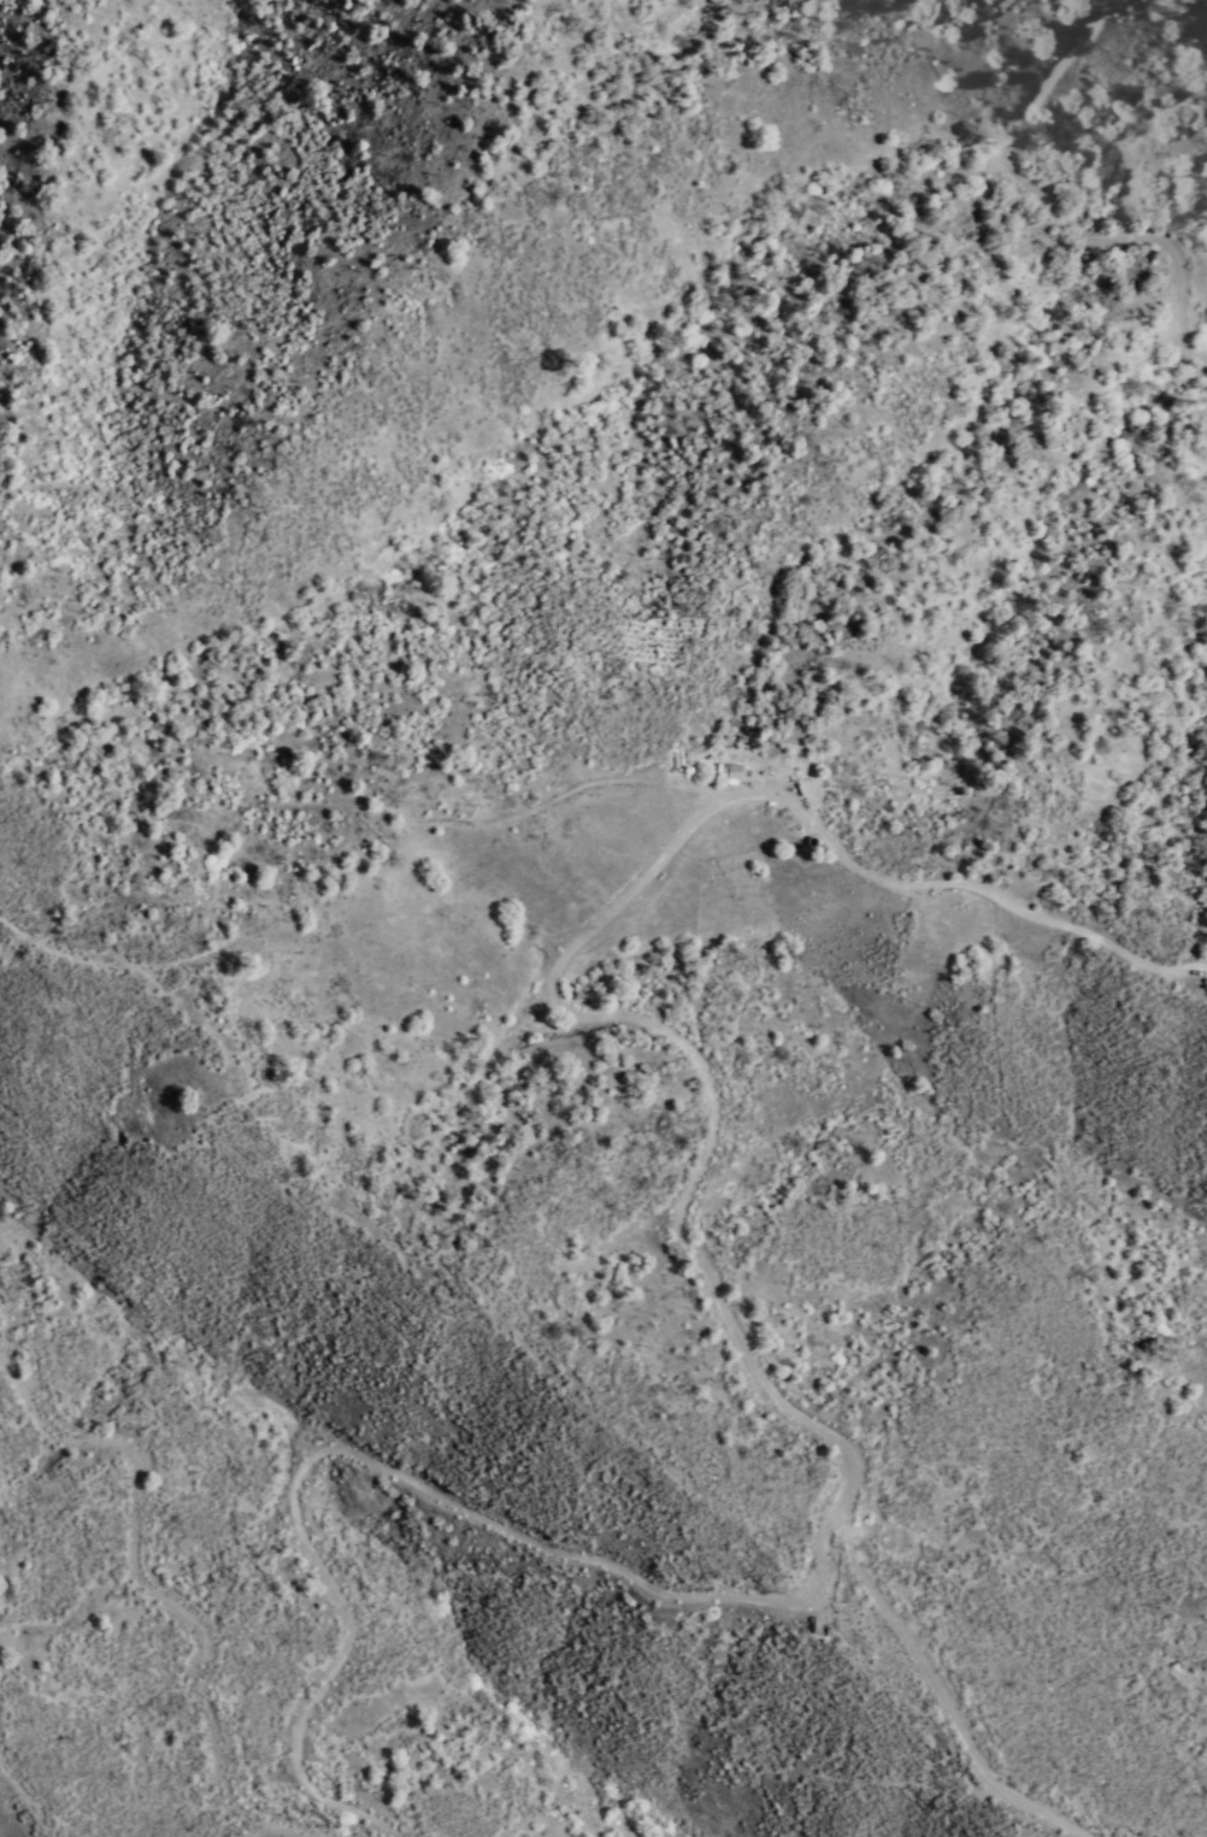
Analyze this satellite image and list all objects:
road: (931, 1704)

